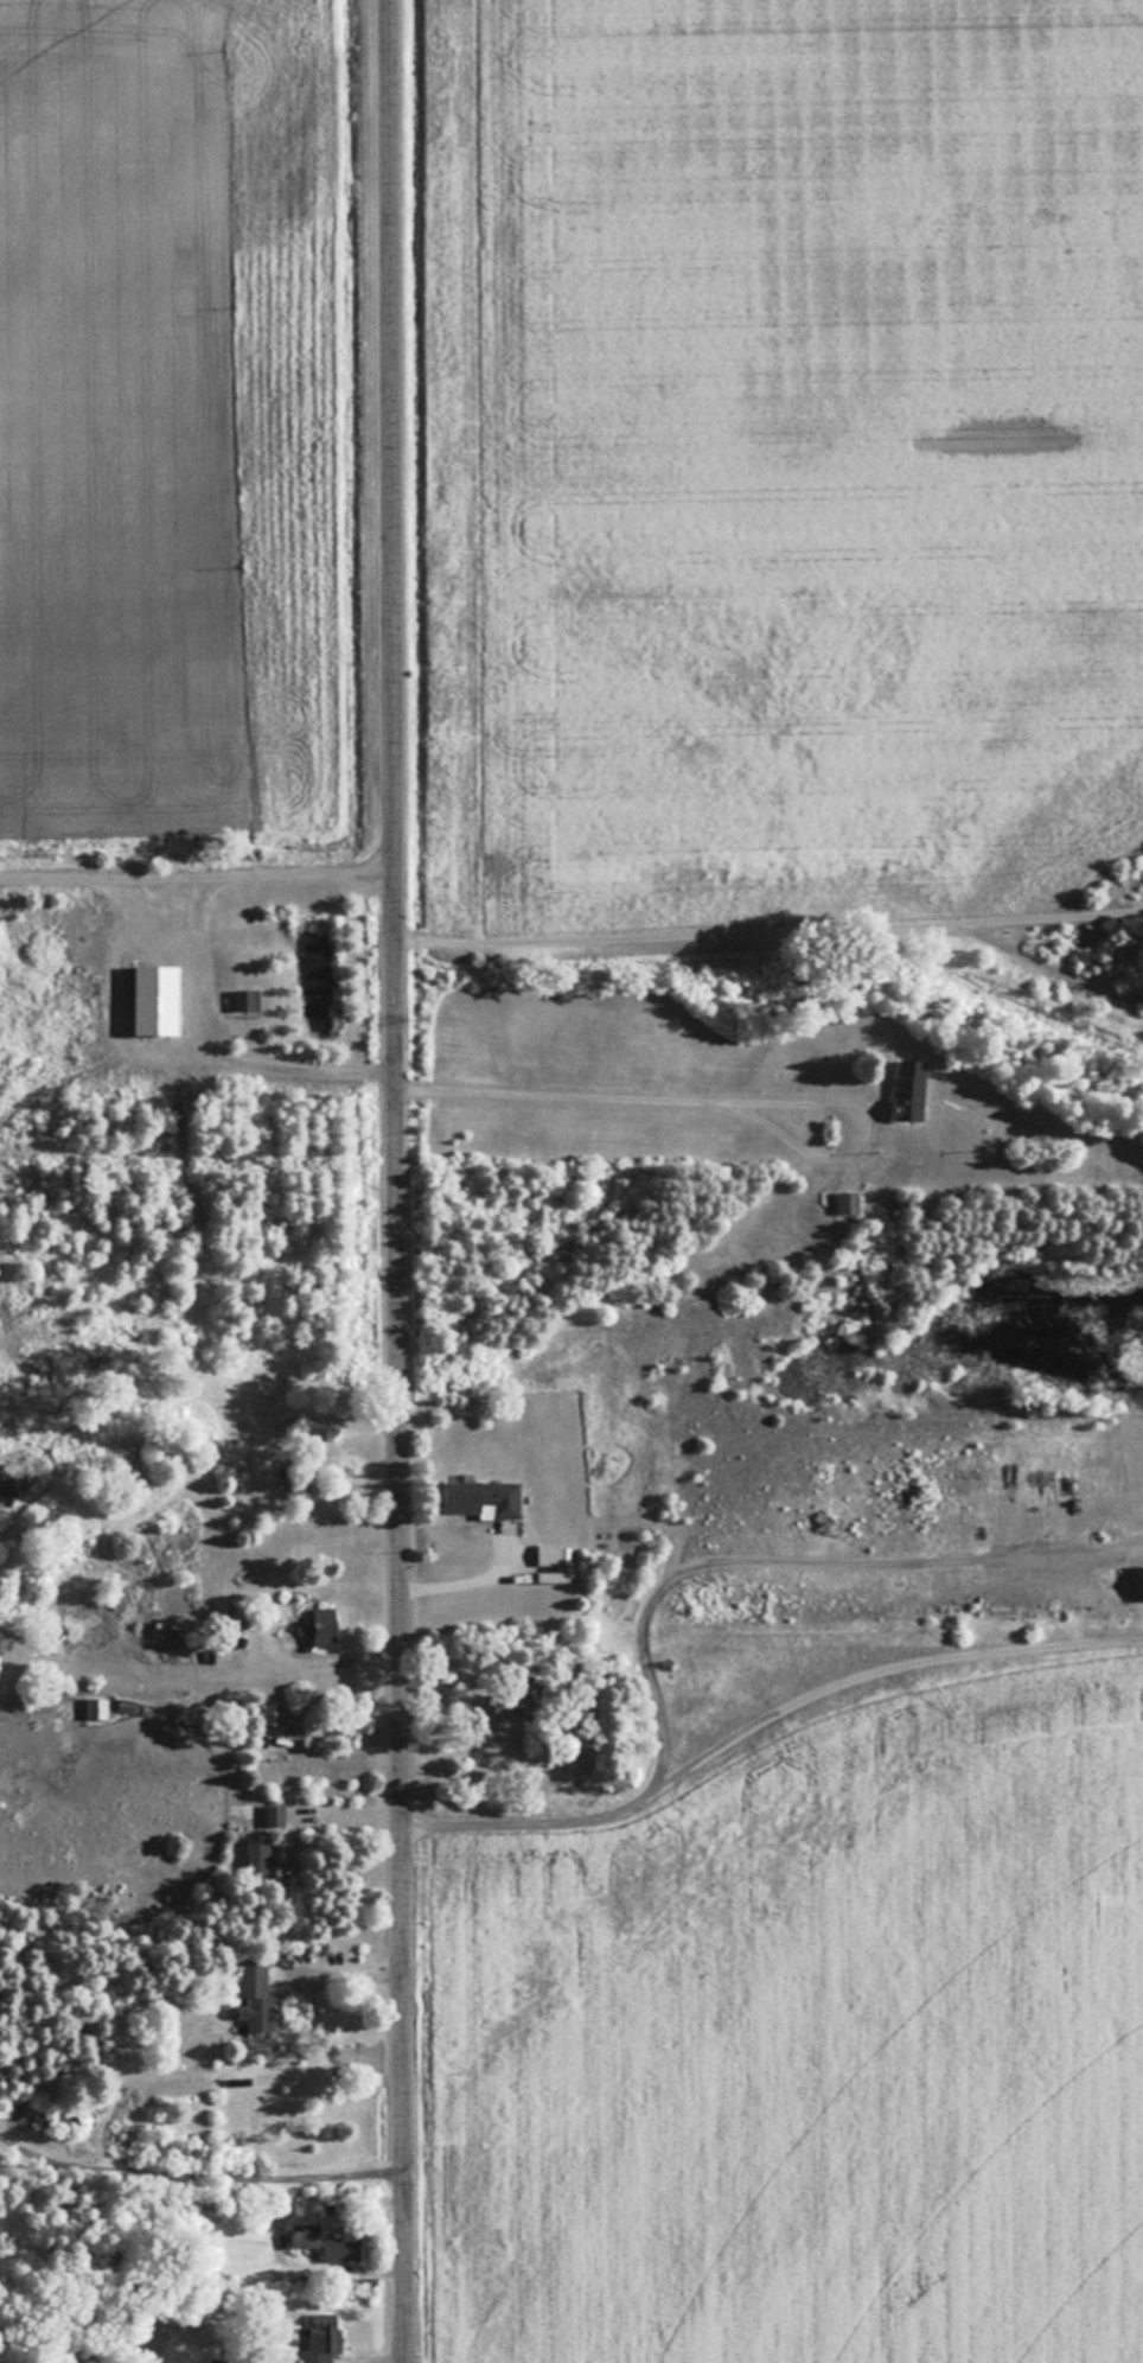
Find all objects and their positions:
road: (191, 873)
building: (7, 921)
road: (765, 932)
road: (1051, 966)
building: (248, 999)
building: (159, 1000)
road: (213, 1044)
building: (909, 1090)
road: (698, 1096)
road: (383, 1181)
building: (848, 1202)
building: (484, 1498)
building: (549, 1554)
building: (325, 1618)
building: (97, 1708)
building: (517, 1709)
road: (758, 1711)
building: (275, 1713)
building: (274, 1815)
building: (257, 1856)
building: (255, 1995)
road: (198, 2174)
building: (327, 2242)
building: (319, 2338)

